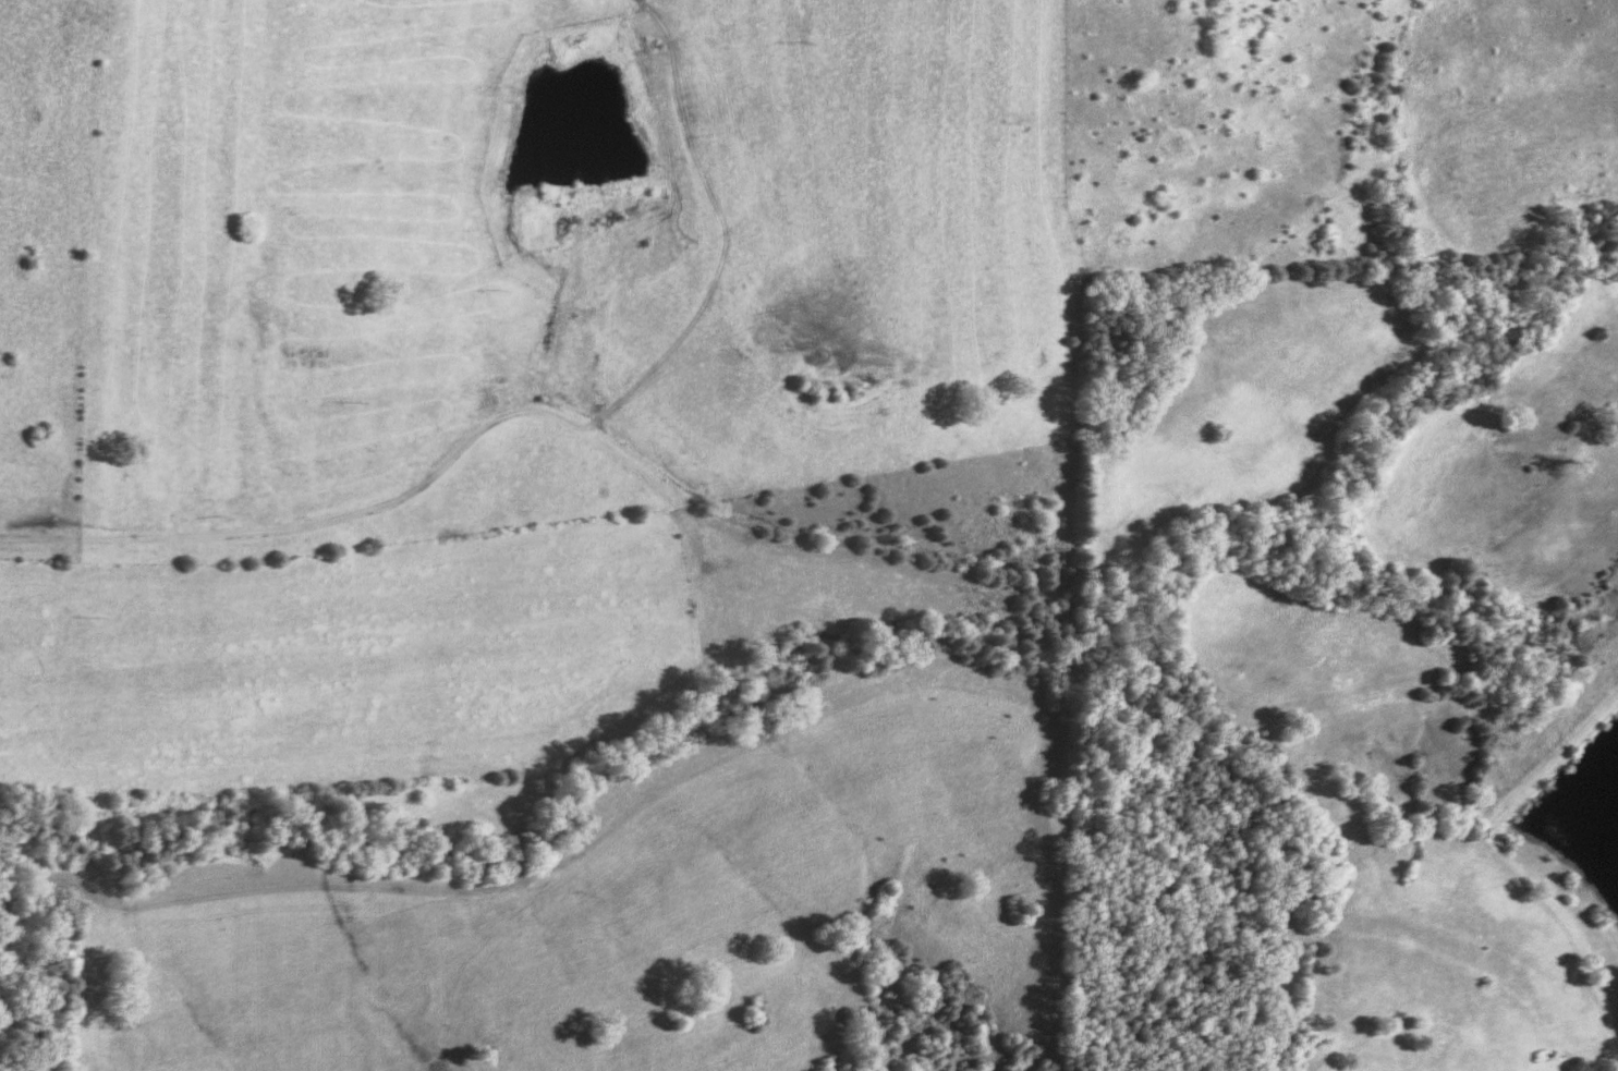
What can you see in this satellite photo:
dam: (1559, 759)

